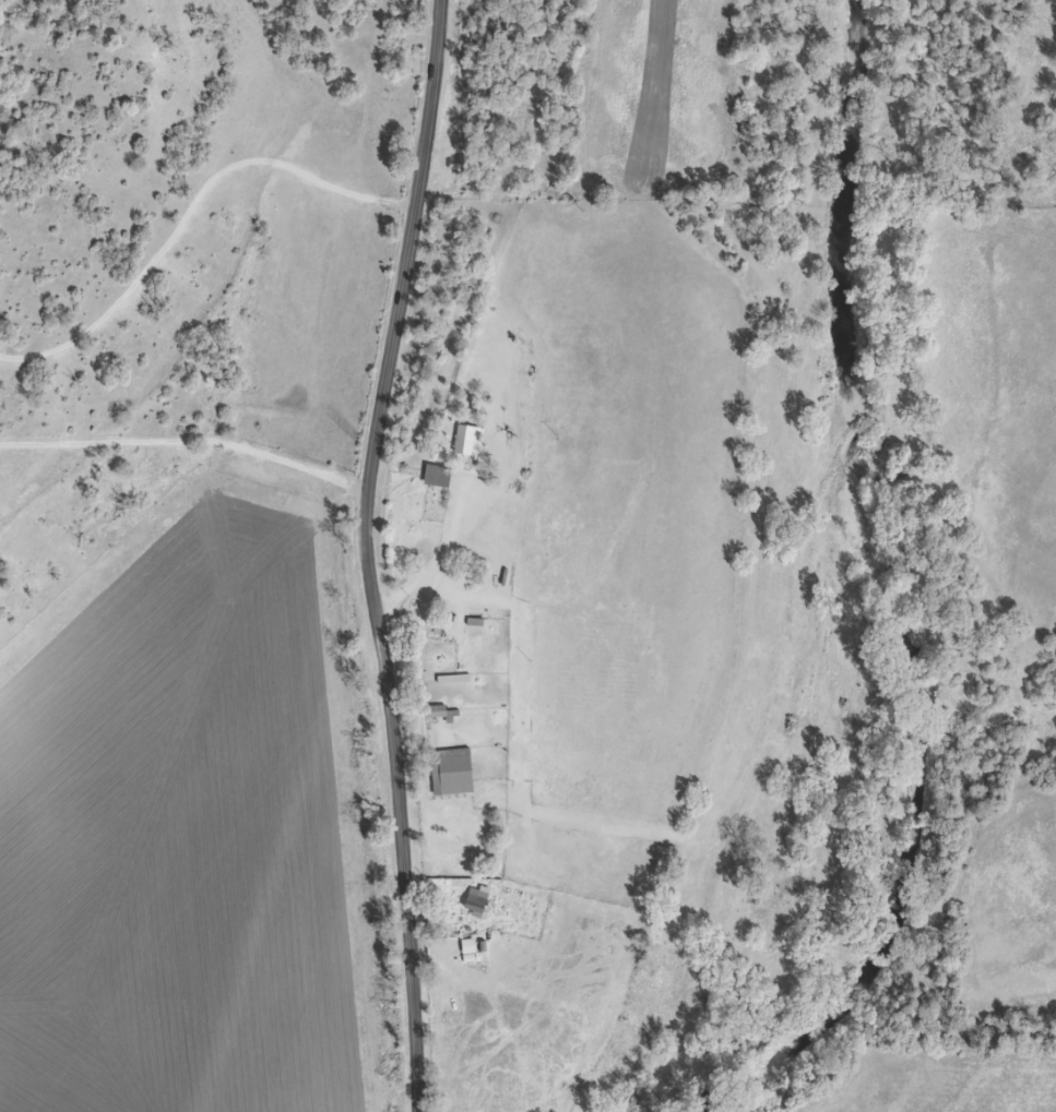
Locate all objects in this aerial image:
building: (470, 439)
road: (189, 443)
building: (440, 474)
road: (368, 554)
railway: (384, 558)
road: (747, 696)
building: (455, 773)
building: (477, 901)
building: (470, 949)

